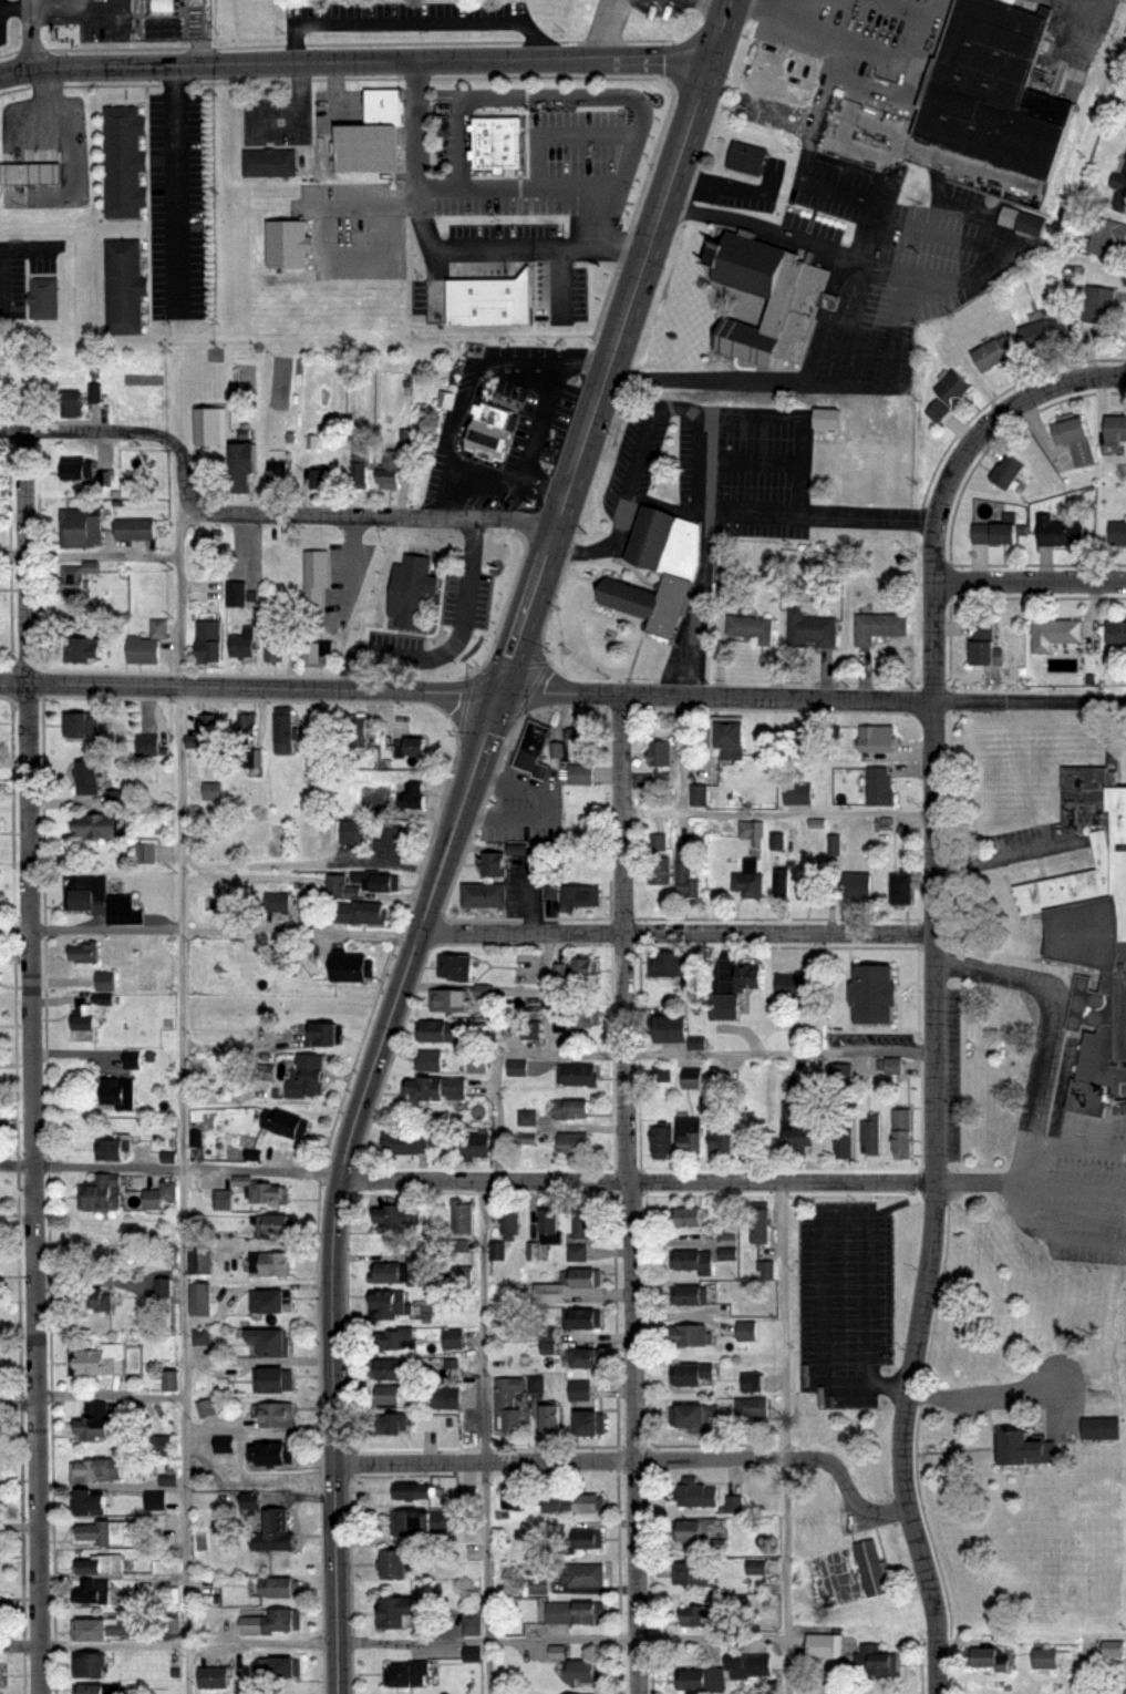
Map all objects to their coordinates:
road: (16, 2)
road: (56, 2)
road: (725, 2)
road: (412, 22)
road: (602, 30)
road: (31, 33)
building: (58, 35)
building: (1125, 47)
road: (829, 52)
road: (355, 61)
road: (174, 81)
building: (769, 82)
building: (992, 93)
building: (496, 137)
building: (366, 141)
building: (123, 157)
building: (745, 157)
building: (269, 158)
building: (29, 161)
road: (729, 181)
road: (813, 182)
road: (524, 185)
building: (1119, 193)
road: (175, 201)
parking lot: (176, 205)
building: (1012, 217)
building: (1033, 224)
road: (864, 232)
building: (1106, 236)
building: (288, 237)
road: (448, 244)
building: (742, 257)
parking lot: (892, 266)
building: (124, 281)
building: (488, 287)
building: (44, 290)
building: (1099, 305)
building: (792, 307)
road: (849, 330)
building: (1045, 332)
building: (743, 342)
road: (617, 348)
building: (994, 352)
building: (953, 388)
building: (92, 393)
road: (546, 396)
building: (73, 403)
road: (745, 411)
building: (210, 419)
building: (829, 419)
building: (1117, 428)
building: (1072, 430)
road: (87, 432)
road: (981, 433)
building: (488, 437)
building: (244, 453)
parking lot: (717, 463)
building: (391, 465)
building: (78, 468)
building: (318, 469)
building: (359, 469)
building: (279, 470)
building: (1009, 472)
road: (186, 473)
building: (102, 479)
road: (467, 479)
building: (316, 480)
road: (543, 489)
road: (372, 517)
building: (81, 528)
building: (134, 530)
building: (1000, 531)
building: (1118, 532)
building: (1060, 533)
road: (13, 550)
road: (102, 553)
building: (657, 568)
building: (316, 572)
building: (414, 579)
building: (71, 581)
road: (1030, 582)
building: (240, 585)
road: (368, 603)
building: (881, 627)
building: (757, 630)
building: (813, 630)
building: (1056, 633)
building: (207, 634)
building: (1117, 634)
building: (240, 635)
building: (273, 635)
building: (988, 641)
building: (147, 643)
building: (313, 644)
building: (81, 648)
road: (246, 687)
traffic signals: (492, 694)
road: (712, 695)
road: (1030, 699)
building: (248, 722)
building: (211, 725)
building: (85, 726)
building: (361, 728)
building: (287, 729)
building: (878, 735)
building: (796, 739)
building: (809, 739)
building: (731, 740)
building: (581, 742)
building: (143, 745)
building: (417, 746)
road: (476, 748)
building: (534, 748)
building: (660, 753)
building: (576, 774)
building: (87, 776)
building: (879, 786)
building: (208, 791)
building: (797, 791)
building: (698, 794)
building: (415, 797)
building: (112, 799)
road: (776, 809)
building: (96, 825)
building: (752, 831)
building: (355, 833)
building: (654, 841)
building: (773, 841)
building: (392, 842)
building: (829, 845)
building: (143, 854)
building: (494, 864)
building: (659, 872)
building: (685, 872)
building: (383, 881)
building: (855, 884)
building: (750, 885)
building: (903, 889)
building: (486, 896)
building: (582, 897)
building: (103, 900)
building: (278, 902)
building: (361, 912)
road: (211, 931)
road: (678, 934)
building: (1091, 947)
building: (87, 952)
building: (668, 964)
building: (353, 968)
building: (581, 968)
building: (461, 969)
building: (750, 977)
building: (107, 981)
building: (799, 985)
building: (481, 992)
building: (877, 995)
building: (450, 1002)
building: (724, 1008)
road: (1054, 1014)
building: (85, 1017)
building: (574, 1018)
building: (671, 1030)
building: (437, 1034)
building: (323, 1035)
road: (779, 1050)
road: (502, 1056)
building: (431, 1061)
road: (31, 1062)
building: (479, 1064)
building: (895, 1067)
building: (518, 1068)
building: (663, 1074)
building: (843, 1076)
building: (308, 1078)
building: (585, 1078)
building: (693, 1080)
building: (456, 1089)
building: (424, 1092)
building: (120, 1094)
road: (185, 1099)
building: (572, 1110)
building: (528, 1119)
building: (285, 1125)
building: (797, 1131)
building: (902, 1133)
building: (689, 1136)
building: (871, 1136)
building: (846, 1138)
building: (523, 1141)
road: (934, 1141)
building: (662, 1142)
building: (723, 1143)
building: (407, 1146)
building: (576, 1146)
building: (476, 1147)
building: (114, 1148)
road: (171, 1169)
road: (638, 1181)
road: (979, 1183)
road: (1074, 1189)
building: (264, 1190)
road: (1022, 1190)
building: (103, 1193)
road: (630, 1193)
building: (163, 1195)
building: (399, 1216)
building: (463, 1219)
building: (689, 1219)
building: (513, 1222)
building: (586, 1223)
building: (276, 1225)
building: (550, 1228)
building: (762, 1228)
building: (724, 1235)
road: (334, 1239)
building: (577, 1252)
building: (723, 1253)
building: (203, 1259)
building: (271, 1262)
building: (694, 1262)
building: (401, 1273)
building: (459, 1275)
building: (585, 1279)
building: (550, 1294)
building: (689, 1295)
building: (203, 1296)
building: (271, 1298)
building: (99, 1300)
building: (392, 1302)
parking lot: (844, 1304)
building: (582, 1317)
building: (742, 1331)
building: (692, 1333)
building: (399, 1337)
building: (454, 1337)
building: (273, 1339)
building: (543, 1341)
building: (586, 1355)
building: (102, 1364)
building: (391, 1367)
building: (692, 1372)
building: (277, 1377)
road: (820, 1379)
building: (751, 1380)
building: (168, 1382)
building: (533, 1385)
road: (889, 1388)
building: (580, 1389)
road: (979, 1392)
road: (112, 1394)
building: (390, 1394)
building: (447, 1397)
building: (510, 1400)
road: (18, 1405)
building: (752, 1407)
building: (278, 1413)
building: (695, 1414)
building: (550, 1418)
building: (99, 1420)
building: (590, 1420)
building: (391, 1423)
building: (1104, 1427)
road: (487, 1437)
road: (784, 1437)
building: (153, 1445)
building: (1022, 1445)
building: (223, 1446)
building: (275, 1452)
road: (632, 1459)
building: (100, 1469)
building: (414, 1490)
building: (696, 1492)
building: (468, 1496)
building: (514, 1496)
building: (87, 1500)
building: (152, 1500)
building: (572, 1501)
building: (421, 1518)
building: (693, 1529)
building: (278, 1530)
building: (105, 1532)
building: (588, 1537)
building: (396, 1562)
building: (100, 1565)
building: (870, 1567)
building: (692, 1571)
building: (586, 1573)
building: (279, 1587)
building: (97, 1592)
building: (1, 1608)
building: (397, 1608)
building: (576, 1611)
building: (702, 1614)
building: (271, 1620)
building: (473, 1623)
building: (103, 1626)
road: (393, 1642)
building: (824, 1644)
building: (1108, 1649)
building: (552, 1652)
building: (990, 1657)
building: (879, 1659)
building: (1047, 1659)
building: (90, 1662)
building: (1, 1663)
building: (748, 1664)
building: (277, 1667)
road: (1086, 1669)
building: (580, 1671)
building: (413, 1673)
building: (214, 1677)
building: (692, 1680)
building: (95, 1688)
building: (579, 1693)

